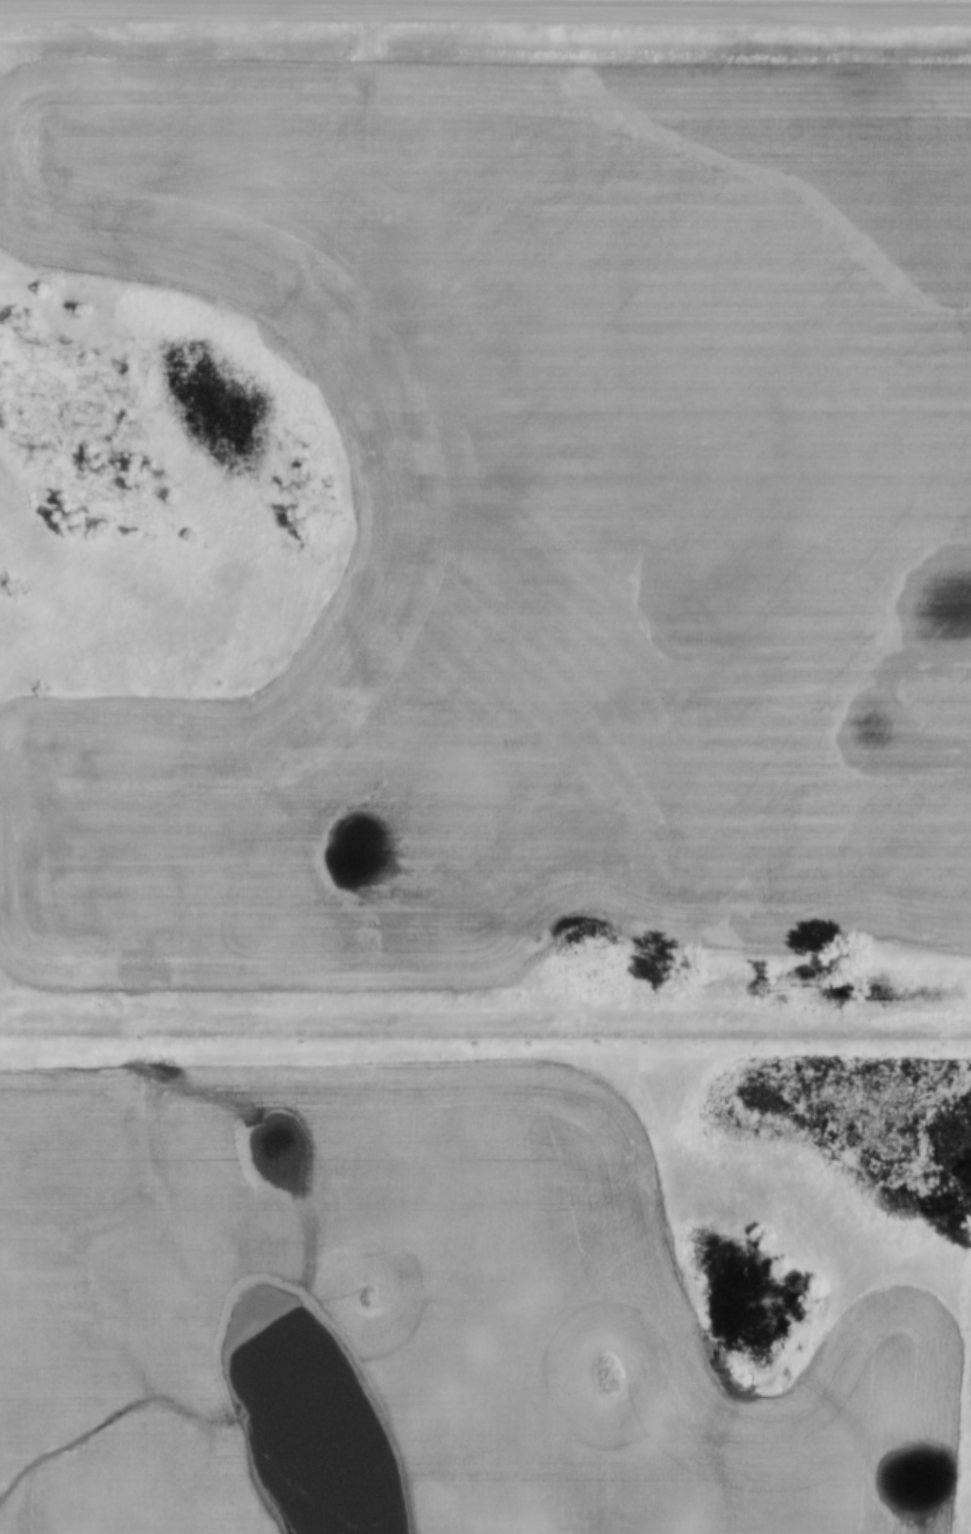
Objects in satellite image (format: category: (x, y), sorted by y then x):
road: (485, 9)

